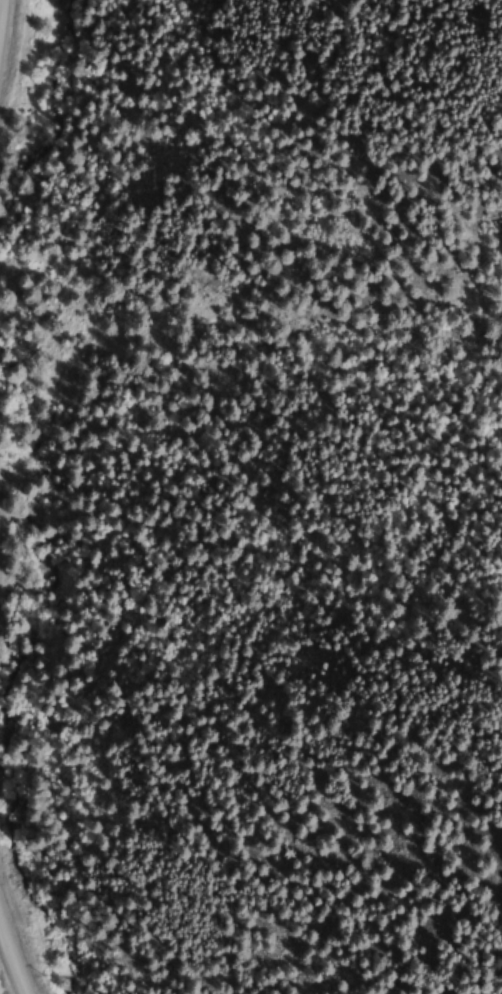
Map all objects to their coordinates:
road: (12, 958)

